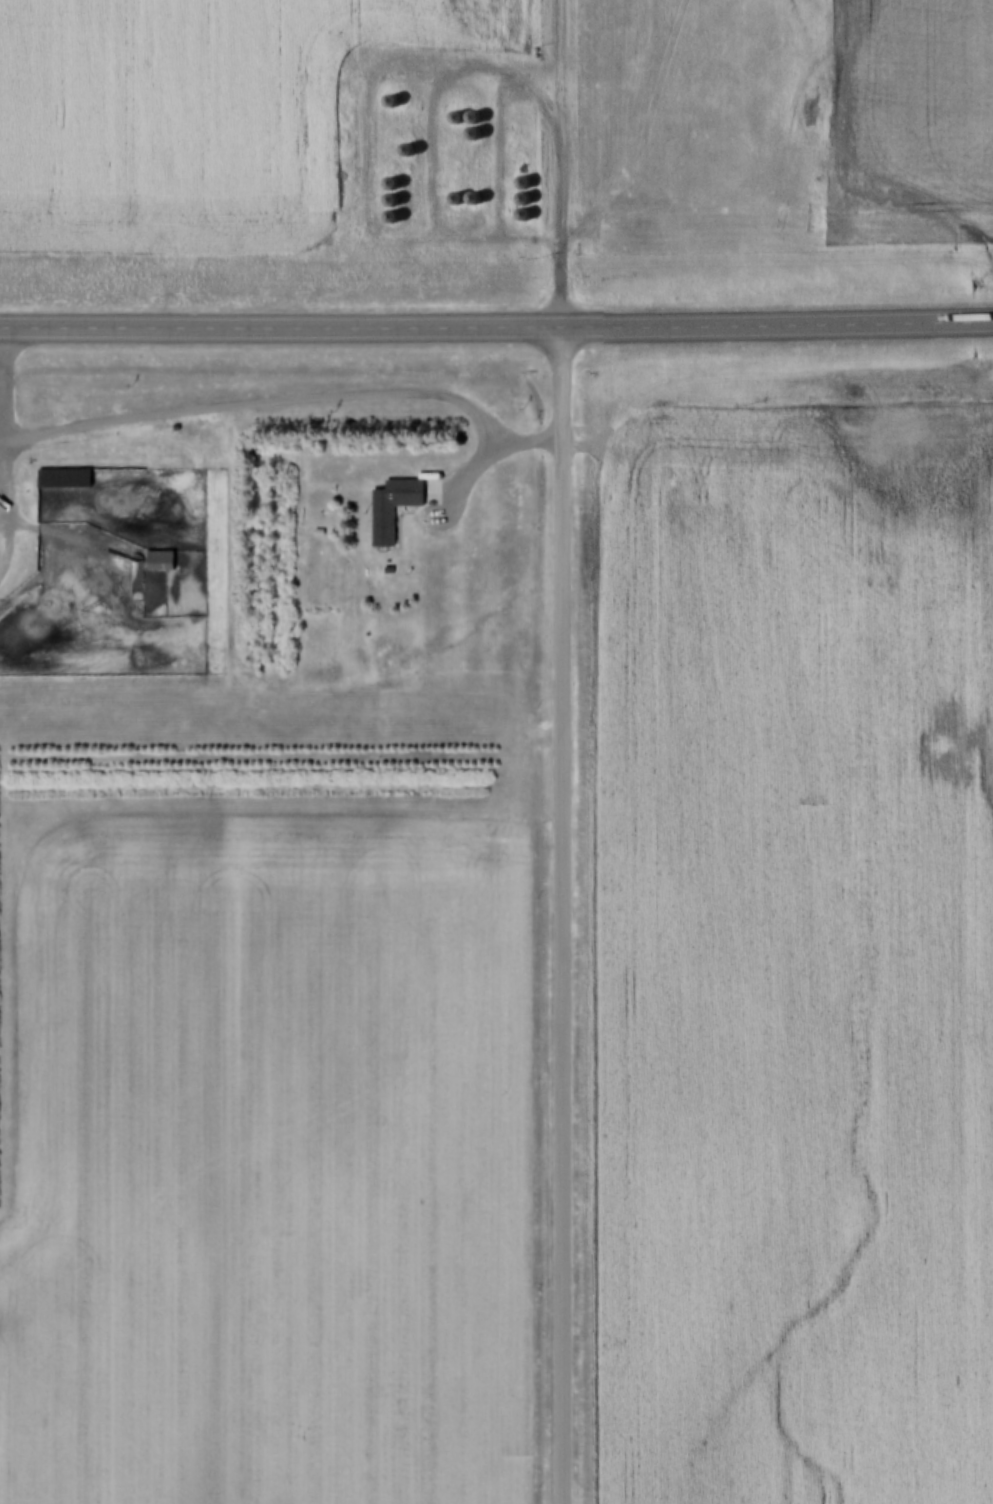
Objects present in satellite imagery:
building: (389, 95)
silo: (389, 95)
building: (455, 112)
silo: (455, 112)
building: (471, 112)
silo: (471, 112)
building: (471, 128)
silo: (471, 128)
building: (406, 143)
silo: (406, 143)
building: (522, 176)
silo: (522, 176)
building: (389, 177)
silo: (389, 177)
building: (455, 192)
silo: (455, 192)
building: (472, 192)
silo: (472, 192)
building: (521, 193)
silo: (521, 193)
building: (389, 194)
silo: (389, 194)
building: (522, 209)
silo: (522, 209)
building: (390, 210)
silo: (390, 210)
road: (496, 340)
building: (63, 474)
building: (390, 503)
building: (317, 529)
building: (159, 557)
road: (563, 922)

